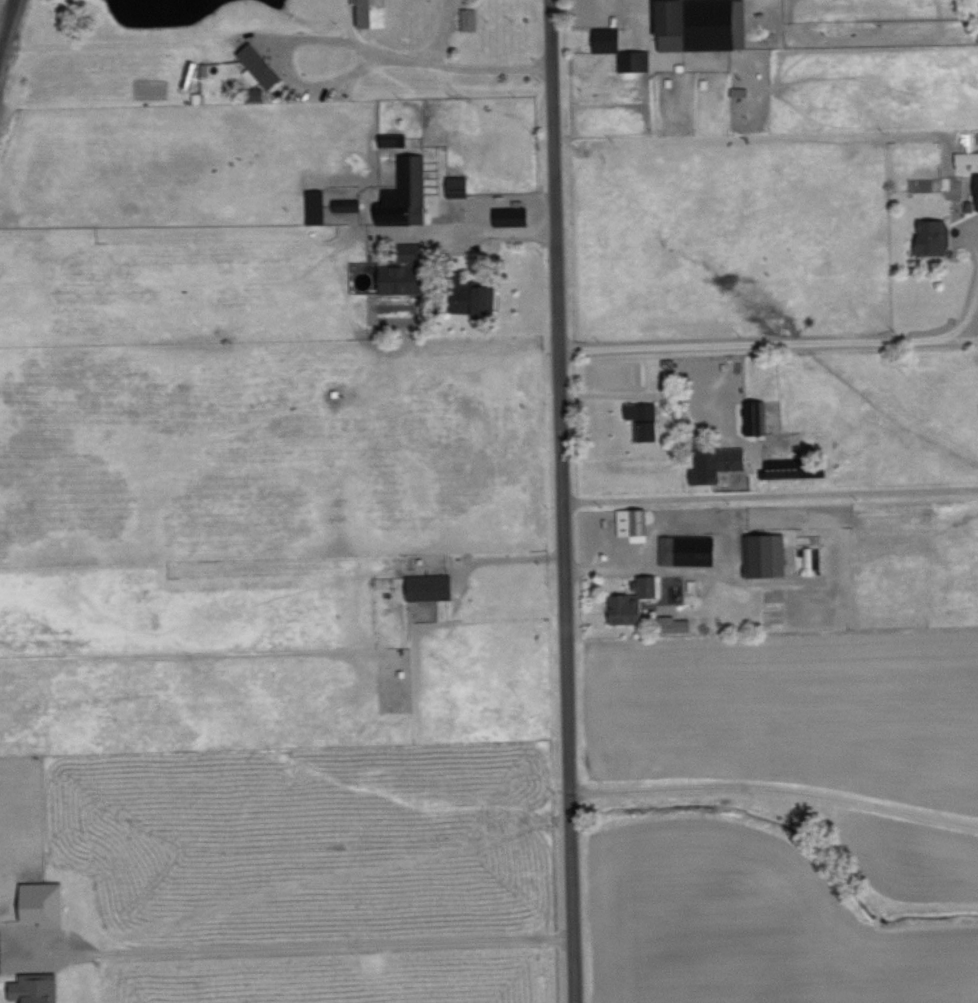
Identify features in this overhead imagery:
building: (375, 13)
building: (471, 19)
railway: (7, 23)
road: (340, 25)
road: (437, 35)
building: (621, 49)
road: (403, 64)
building: (261, 65)
building: (966, 157)
building: (976, 183)
building: (407, 193)
building: (349, 205)
building: (315, 206)
building: (514, 216)
building: (932, 237)
road: (462, 241)
building: (405, 272)
building: (480, 299)
road: (769, 349)
road: (659, 393)
building: (754, 416)
building: (647, 419)
building: (718, 462)
building: (794, 467)
road: (771, 493)
road: (566, 501)
building: (633, 520)
building: (690, 549)
building: (767, 553)
building: (649, 584)
building: (431, 586)
building: (629, 608)
road: (777, 789)
building: (45, 902)
road: (312, 947)
building: (37, 988)

